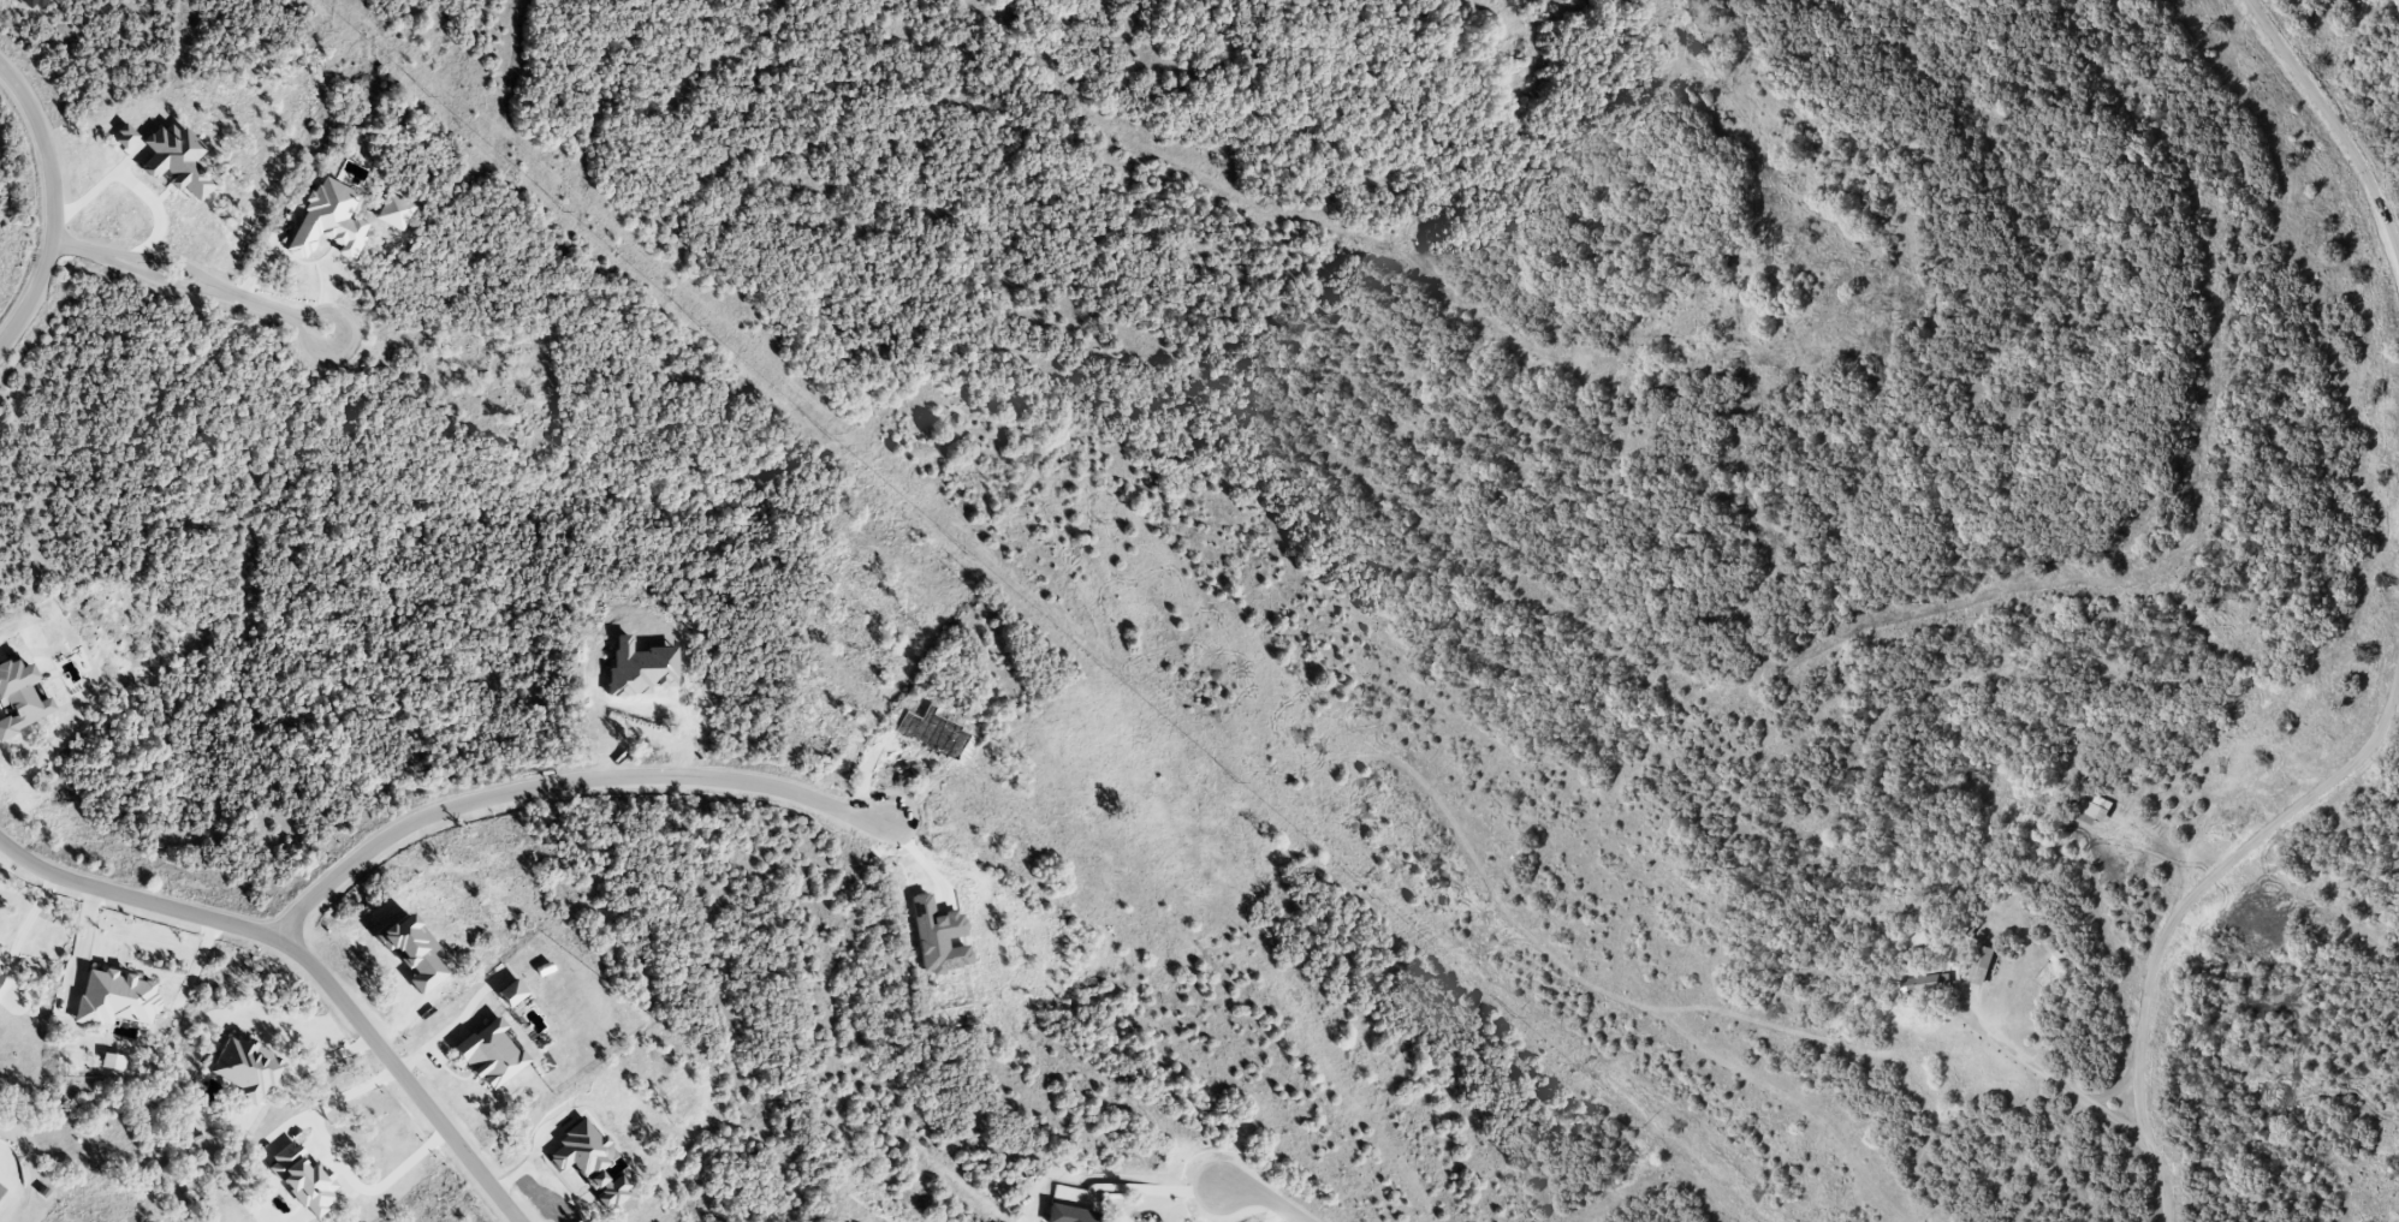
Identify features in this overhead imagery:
road: (2333, 120)
building: (124, 136)
building: (176, 160)
road: (127, 183)
road: (52, 205)
road: (83, 250)
road: (171, 260)
road: (164, 281)
road: (274, 311)
building: (19, 697)
road: (560, 782)
building: (2094, 810)
road: (919, 854)
road: (2183, 906)
road: (22, 930)
road: (78, 949)
road: (196, 961)
road: (307, 964)
building: (1982, 964)
building: (0, 973)
building: (1925, 983)
building: (511, 991)
building: (114, 997)
road: (451, 1024)
building: (488, 1053)
road: (2015, 1053)
building: (247, 1068)
road: (2096, 1104)
road: (335, 1160)
building: (301, 1176)
road: (1154, 1188)
road: (1261, 1197)
building: (1068, 1214)

